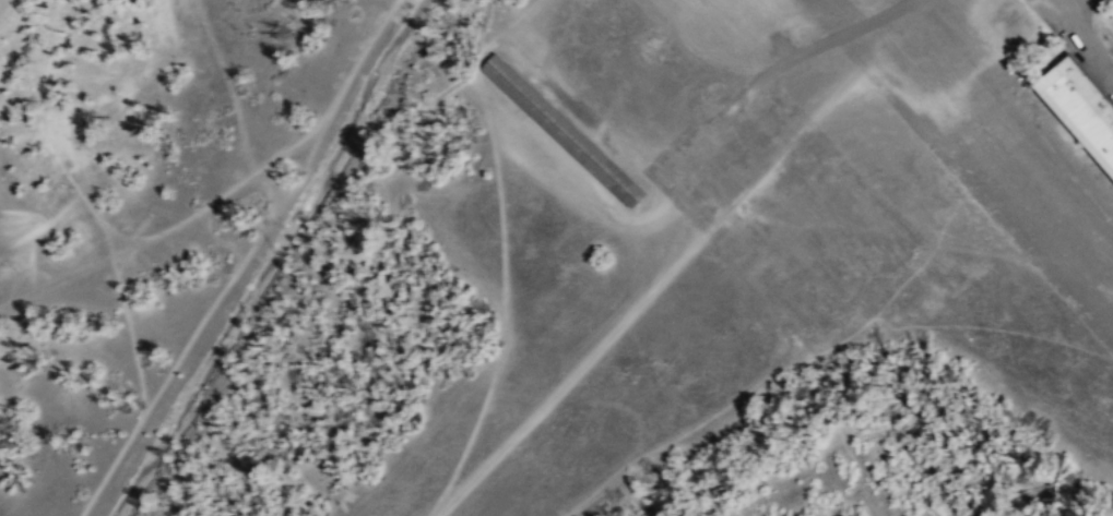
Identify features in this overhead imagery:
road: (1074, 8)
building: (1078, 111)
building: (564, 130)
airport runway: (967, 167)
airport: (782, 197)
road: (568, 377)

